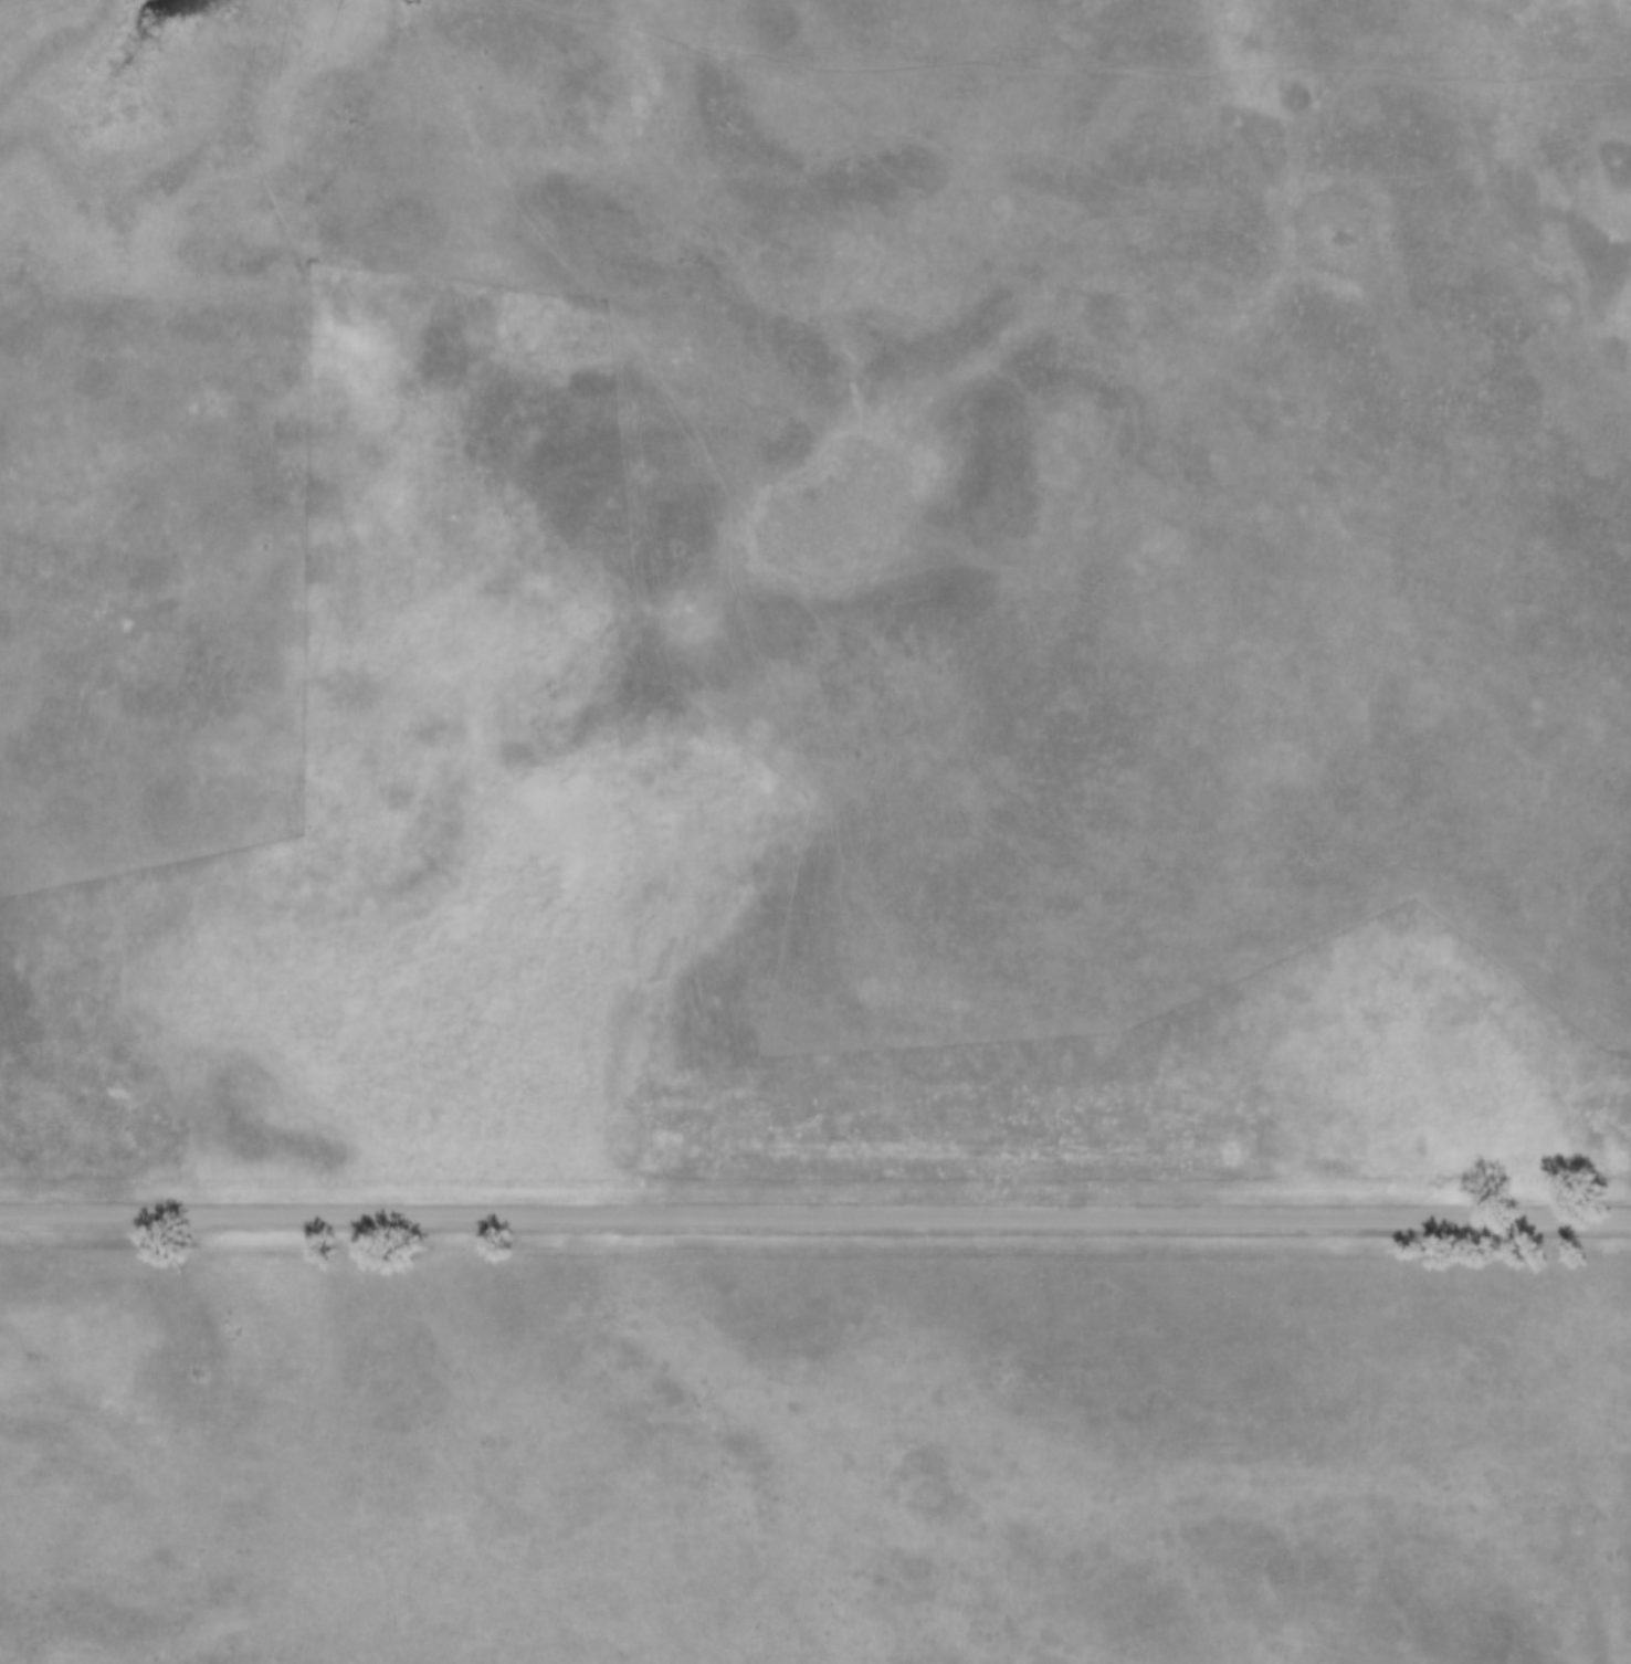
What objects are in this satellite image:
road: (814, 1218)

